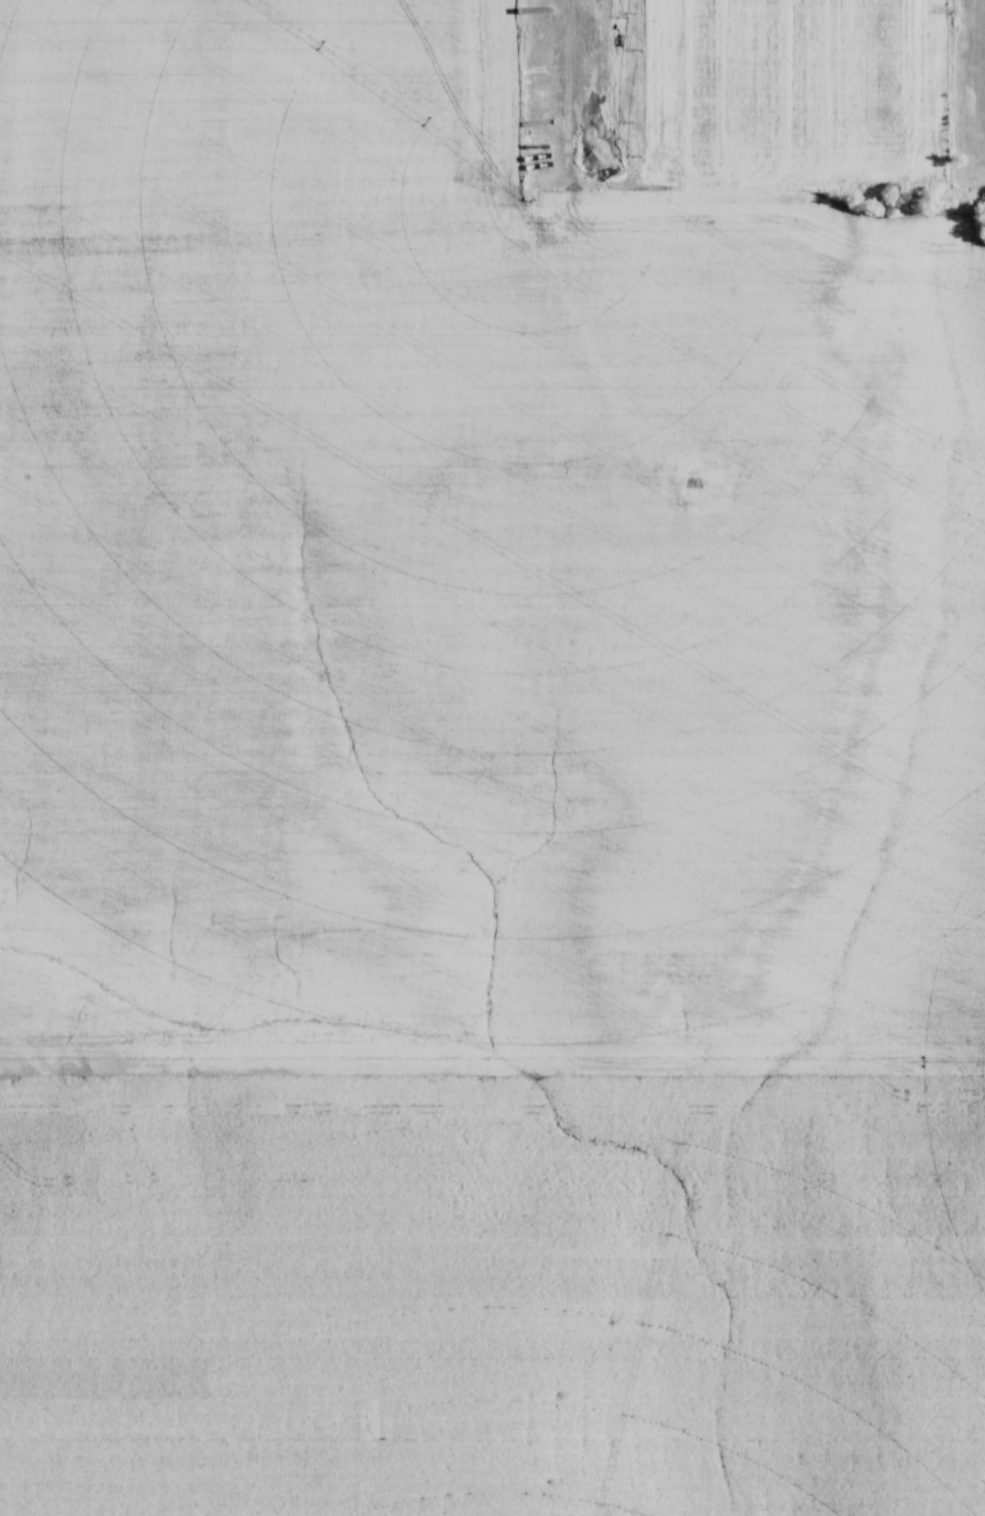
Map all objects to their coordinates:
crop: (486, 777)

